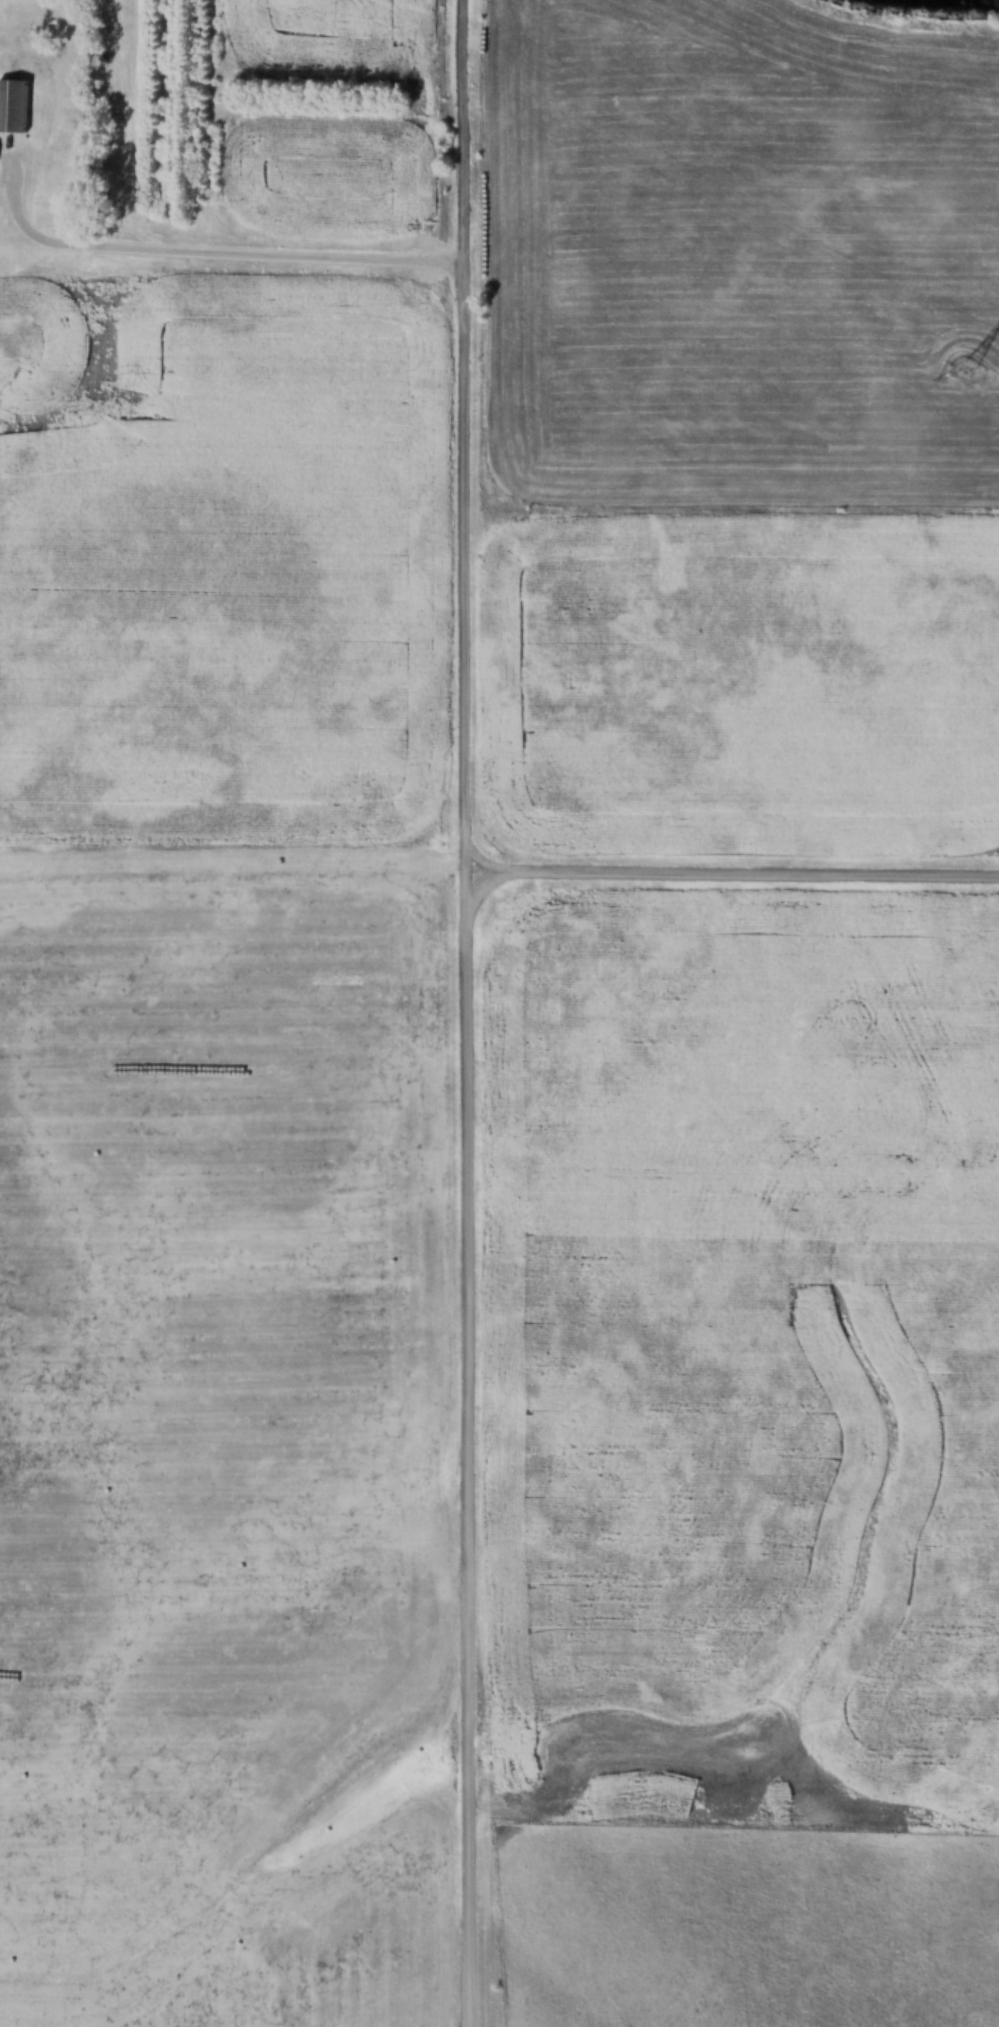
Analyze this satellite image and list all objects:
building: (12, 105)
power tower: (979, 357)
road: (733, 871)
road: (468, 1013)

